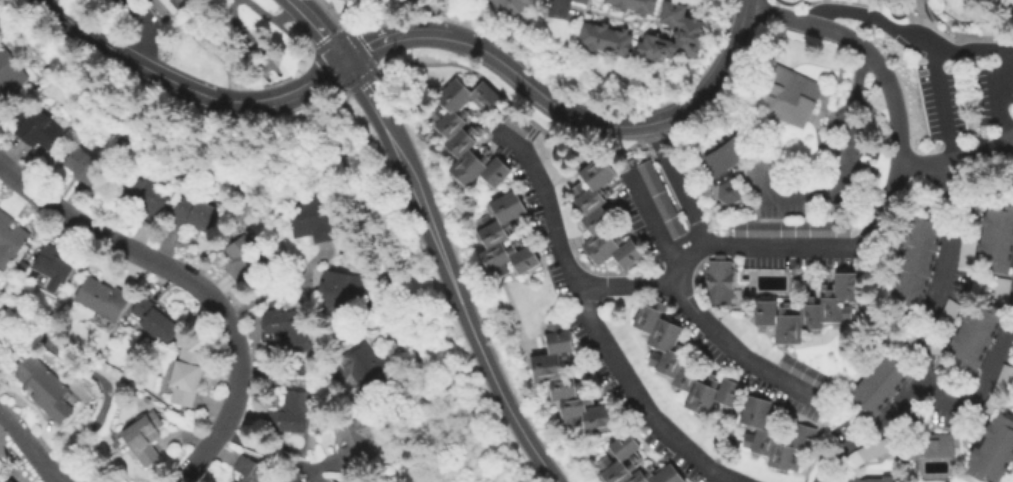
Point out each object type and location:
building: (583, 1)
road: (744, 2)
road: (557, 4)
road: (760, 4)
building: (637, 5)
building: (512, 6)
building: (164, 8)
road: (344, 14)
road: (876, 17)
road: (235, 19)
road: (271, 20)
road: (895, 21)
road: (318, 28)
road: (147, 29)
road: (407, 31)
building: (675, 35)
road: (295, 39)
building: (607, 39)
road: (971, 49)
road: (121, 55)
road: (263, 55)
traffic signals: (344, 59)
road: (253, 60)
road: (264, 66)
building: (9, 74)
road: (713, 76)
road: (362, 86)
road: (343, 90)
road: (1002, 93)
building: (786, 94)
parking lot: (964, 95)
road: (281, 96)
road: (555, 106)
road: (515, 107)
road: (944, 107)
road: (835, 112)
road: (306, 122)
building: (519, 124)
road: (299, 126)
building: (36, 128)
building: (468, 132)
road: (318, 134)
building: (729, 158)
road: (959, 163)
building: (83, 166)
road: (678, 184)
road: (861, 194)
building: (142, 196)
road: (798, 197)
building: (661, 199)
building: (193, 215)
building: (603, 216)
building: (311, 219)
road: (653, 223)
road: (873, 225)
building: (792, 229)
building: (505, 237)
building: (10, 239)
building: (998, 239)
building: (968, 250)
building: (242, 259)
building: (918, 259)
building: (22, 267)
building: (52, 268)
road: (940, 271)
building: (720, 281)
road: (194, 283)
building: (1002, 290)
building: (339, 292)
building: (100, 299)
road: (402, 301)
road: (458, 302)
building: (812, 309)
building: (948, 313)
building: (155, 320)
road: (591, 321)
road: (1011, 321)
building: (910, 330)
building: (299, 333)
building: (977, 335)
building: (938, 343)
road: (733, 345)
building: (682, 362)
building: (365, 370)
building: (187, 371)
building: (804, 371)
road: (92, 375)
building: (569, 384)
building: (881, 384)
building: (43, 387)
building: (999, 390)
road: (978, 391)
building: (289, 414)
road: (868, 430)
building: (774, 436)
building: (143, 438)
building: (356, 441)
road: (29, 445)
building: (933, 445)
road: (263, 450)
building: (871, 451)
building: (994, 452)
road: (319, 464)
building: (633, 464)
building: (250, 471)
road: (313, 475)
road: (430, 477)
road: (439, 477)
road: (66, 478)
building: (9, 480)
building: (875, 480)
building: (330, 481)
building: (333, 481)

